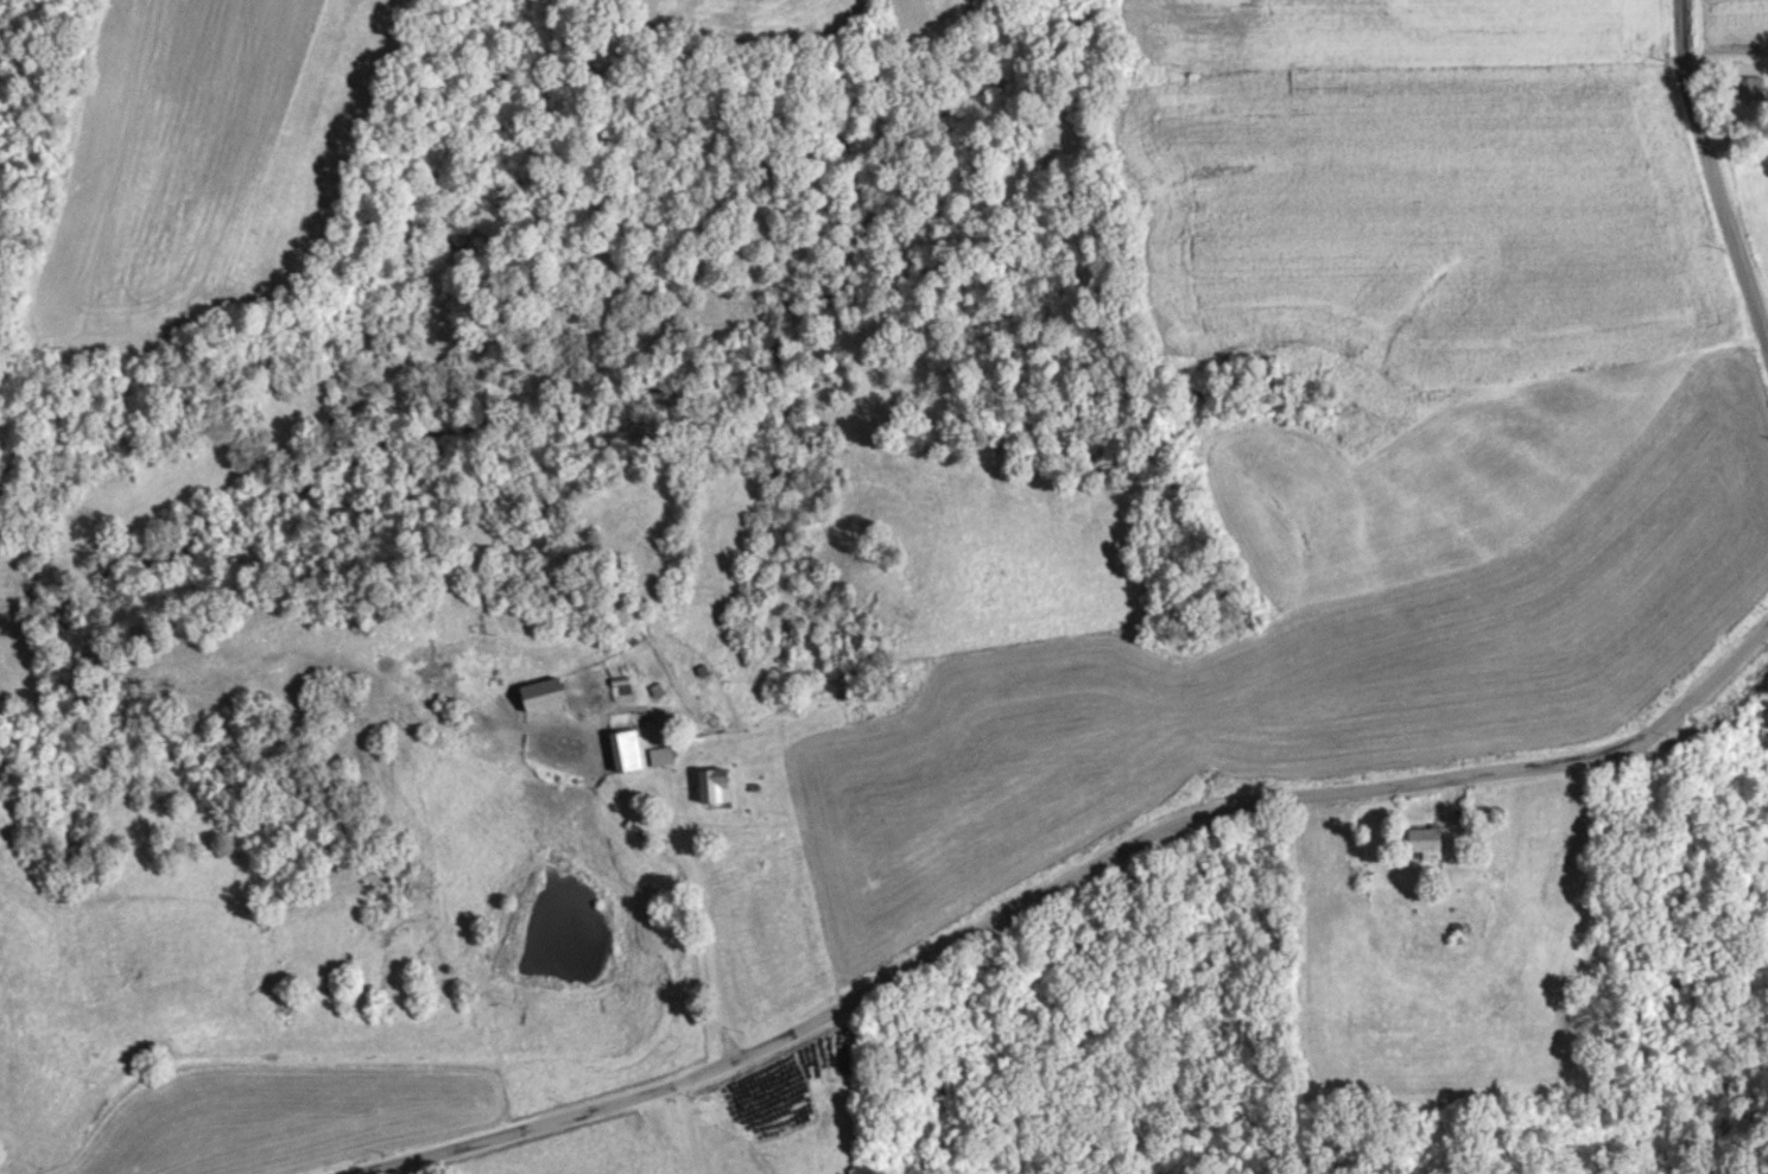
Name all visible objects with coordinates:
building: (1751, 85)
road: (1712, 170)
building: (540, 694)
building: (626, 749)
building: (660, 754)
building: (715, 785)
building: (1426, 842)
road: (692, 865)
road: (1054, 881)
road: (687, 1125)

